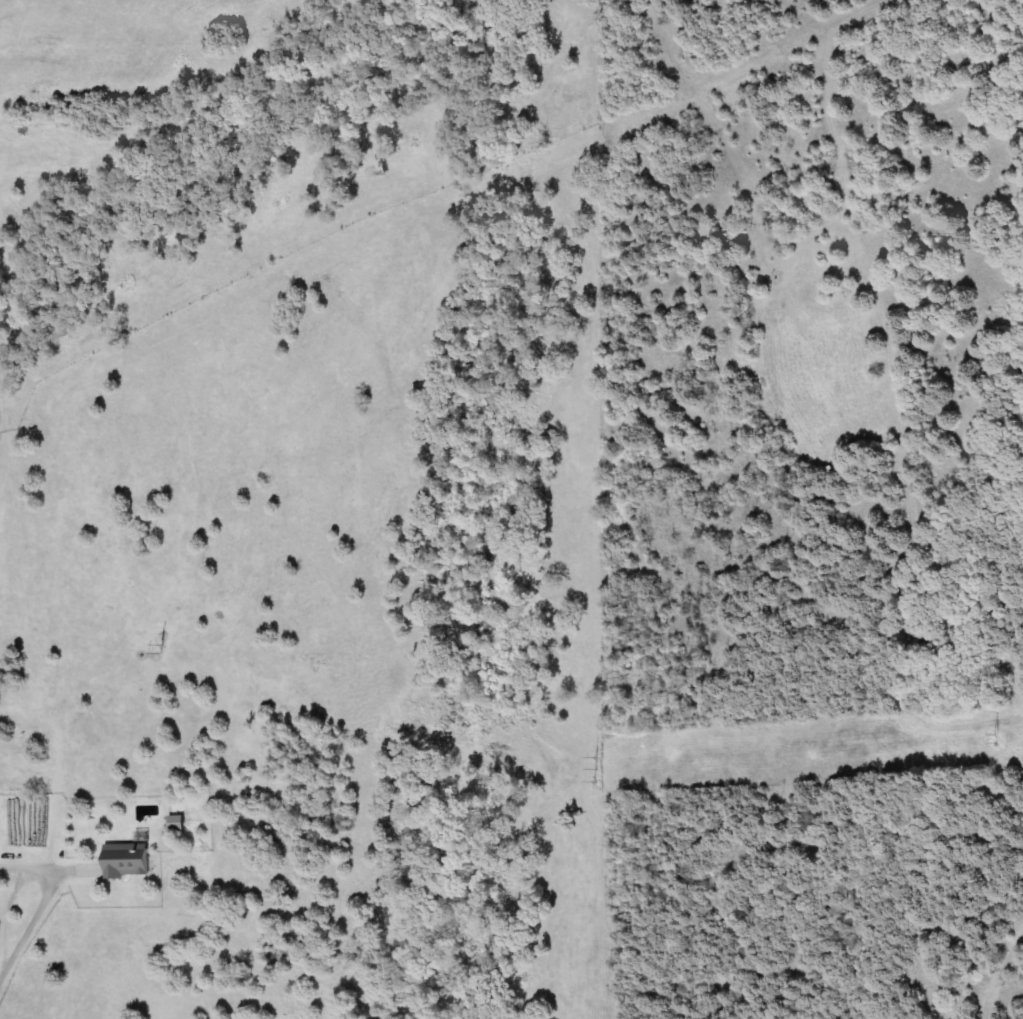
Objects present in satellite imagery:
power tower: (161, 647)
power tower: (995, 738)
power tower: (596, 767)
building: (182, 823)
building: (131, 860)

